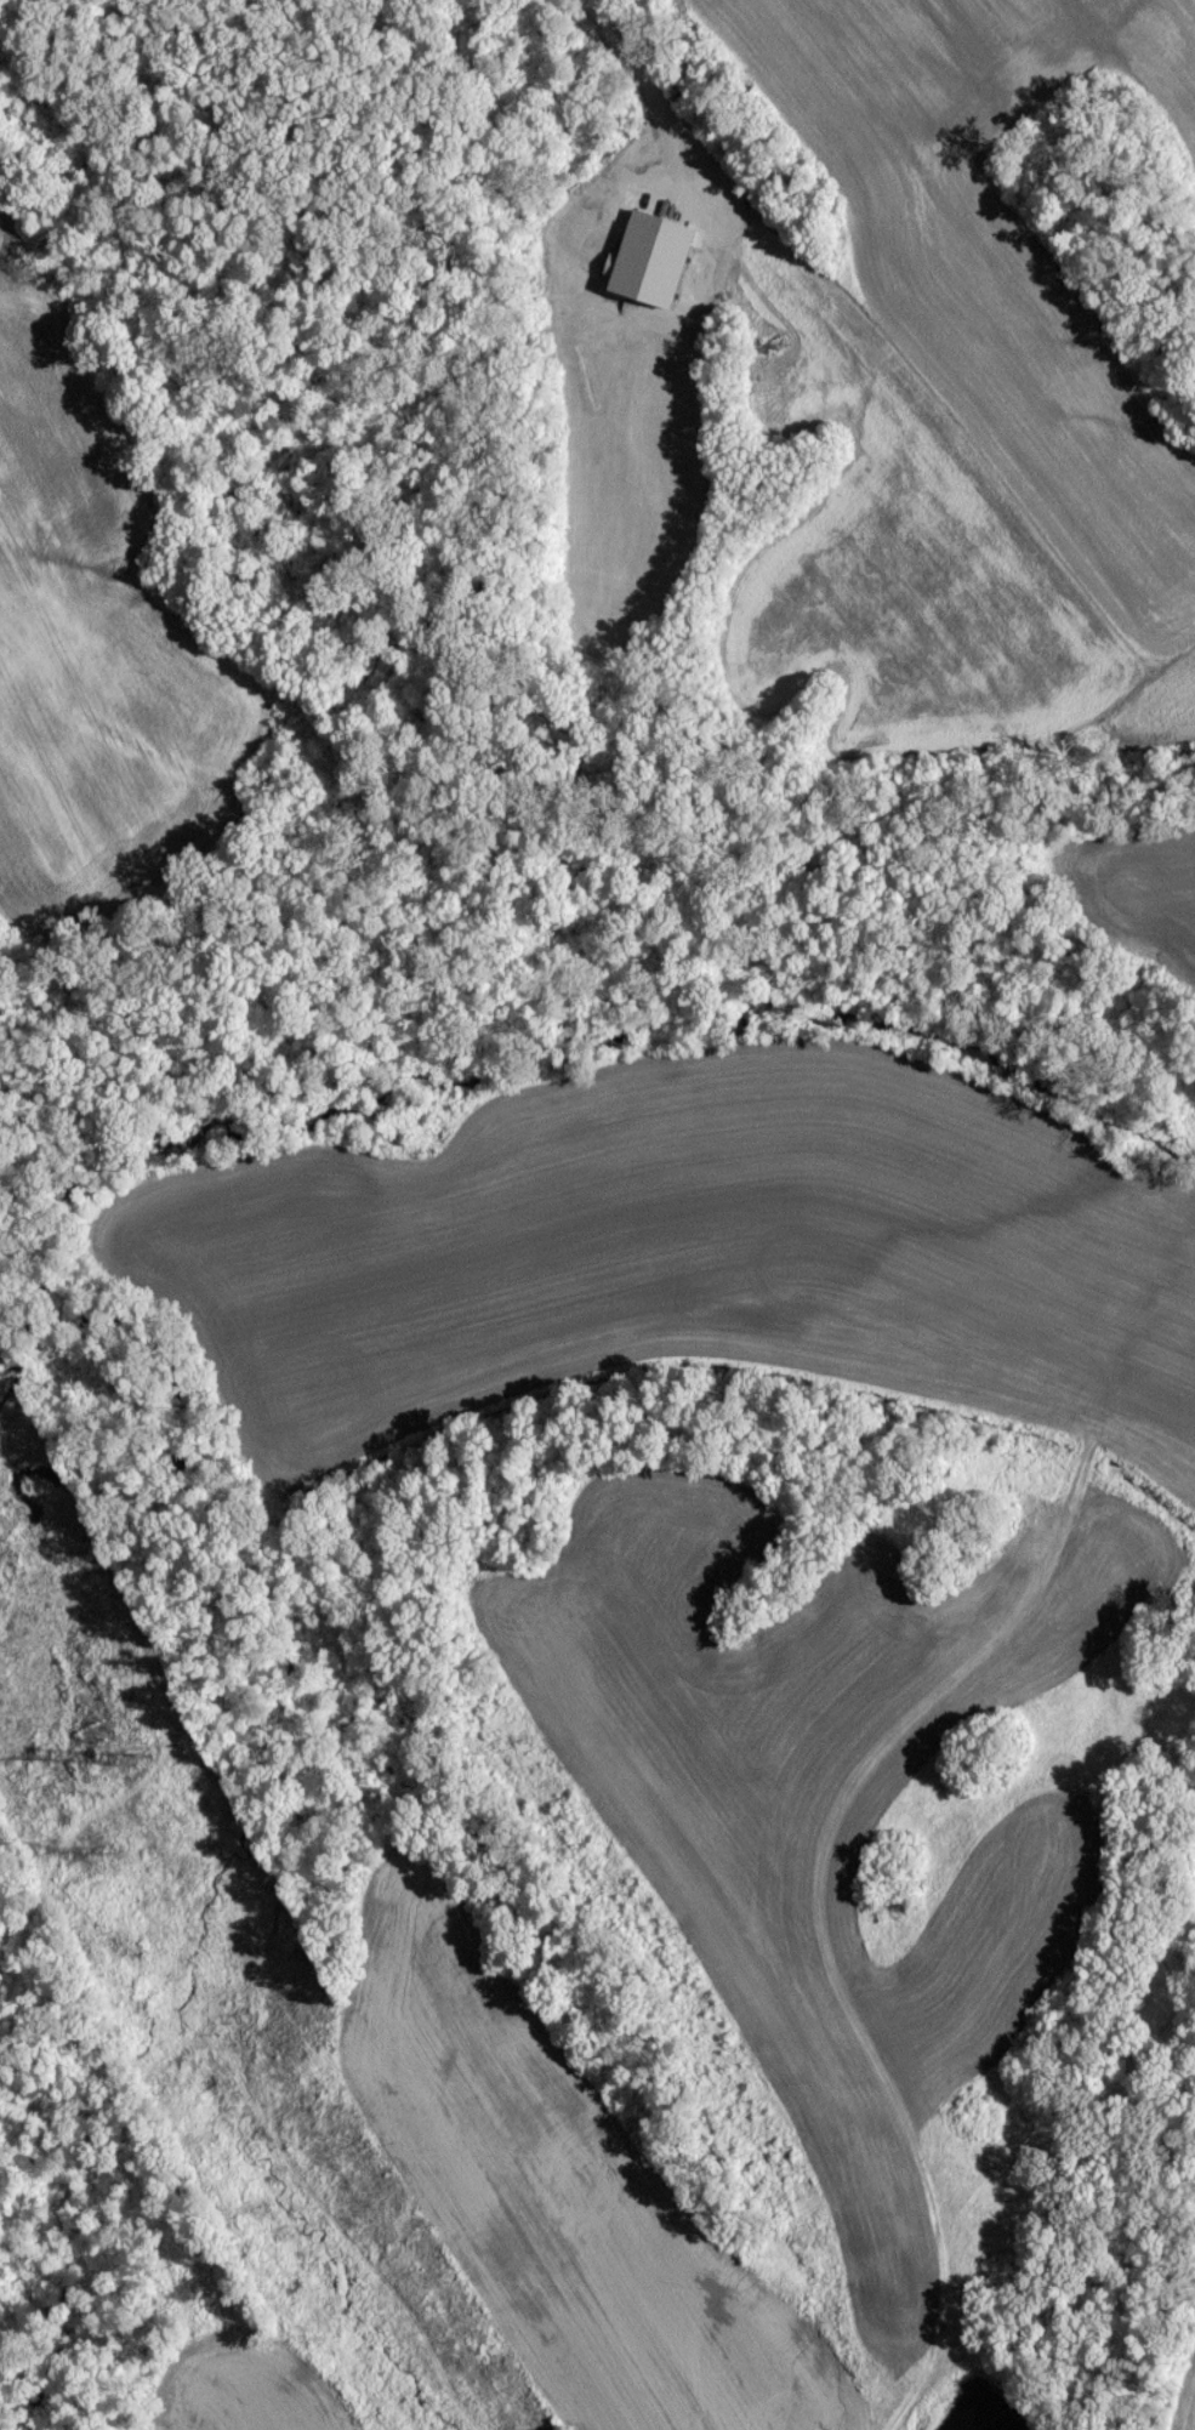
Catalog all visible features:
power tower: (146, 1769)
power tower: (107, 1860)
road: (398, 2104)

